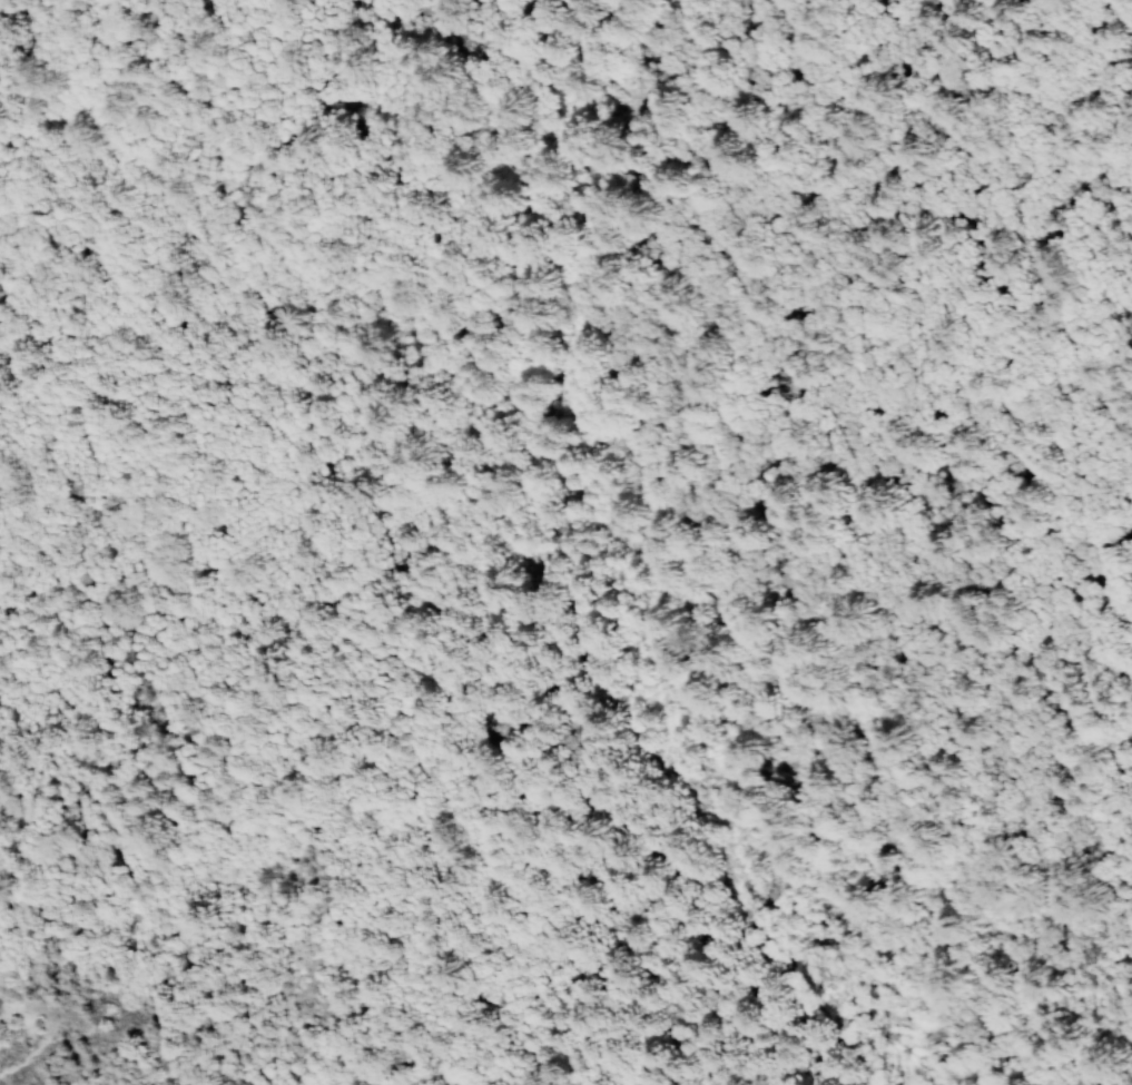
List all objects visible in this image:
road: (685, 594)
road: (38, 1015)

